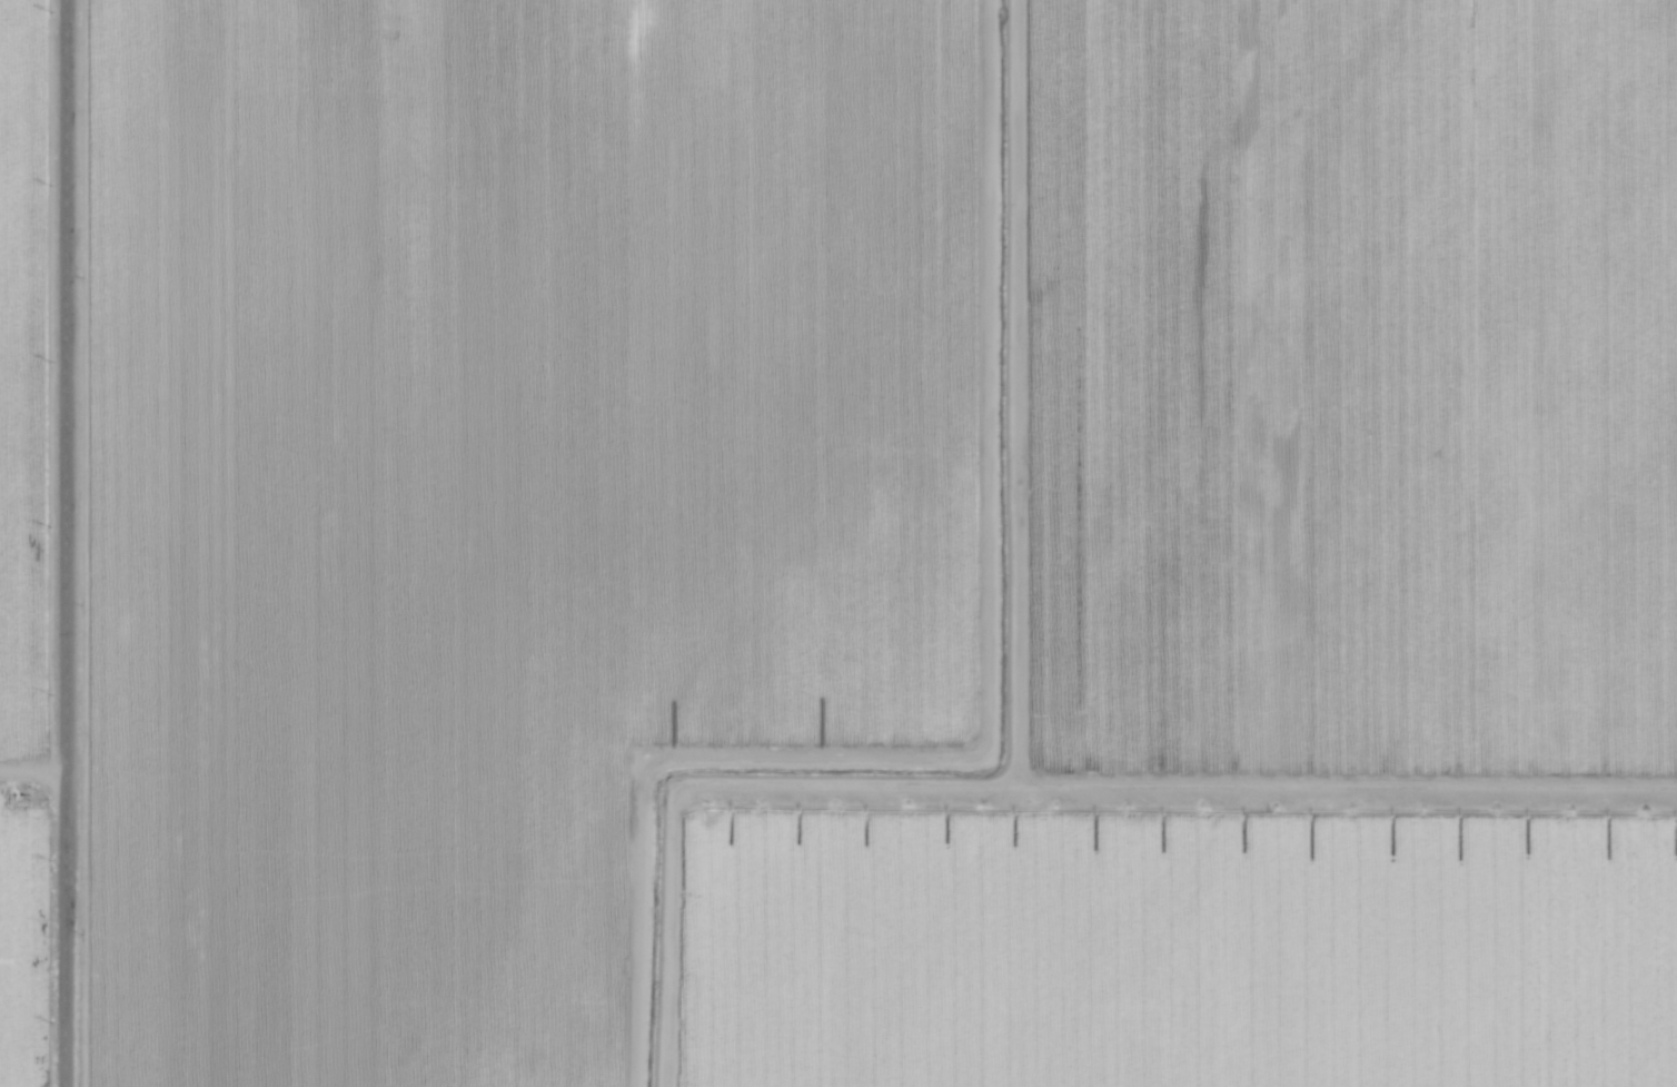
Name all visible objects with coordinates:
road: (66, 543)
crop: (838, 543)
road: (32, 771)

